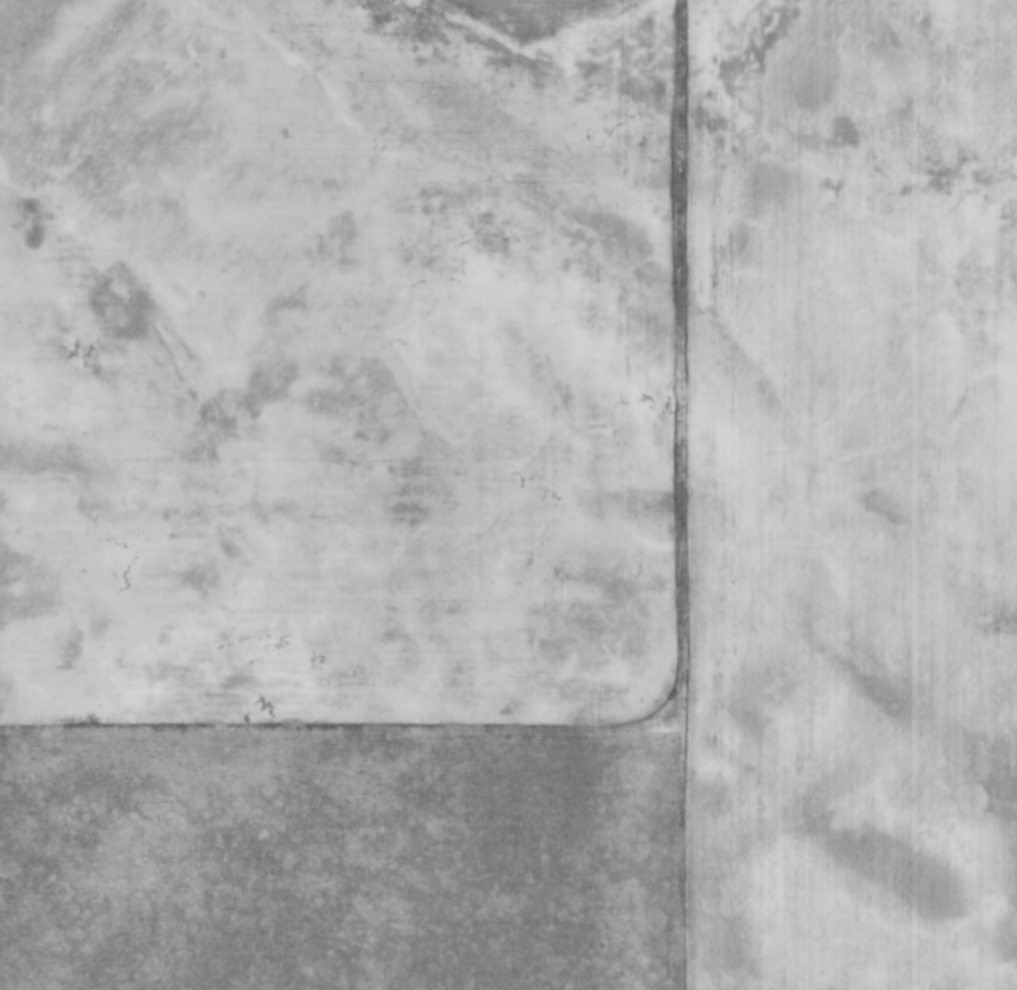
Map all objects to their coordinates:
road: (697, 495)

